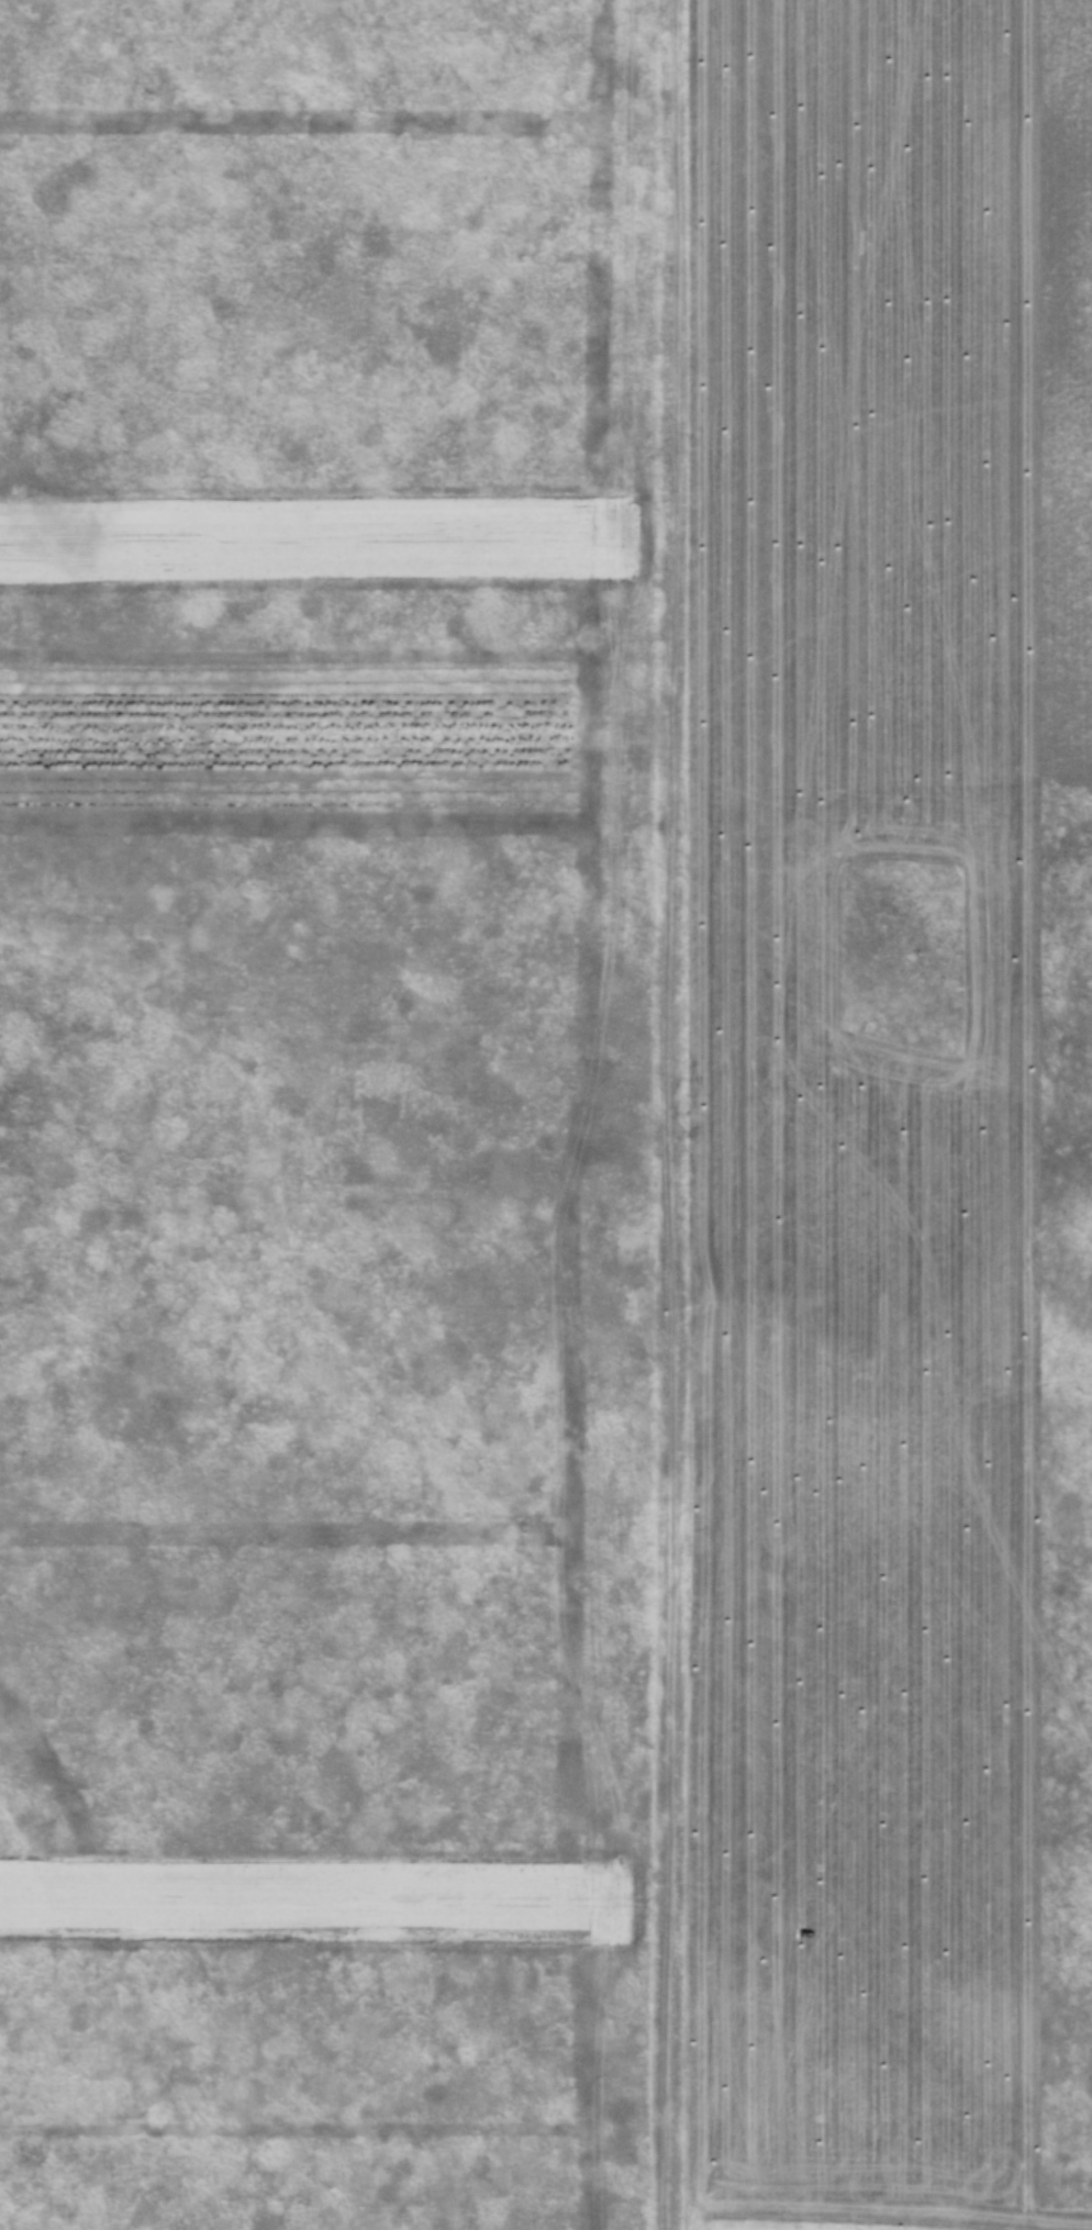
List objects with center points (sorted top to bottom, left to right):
road: (683, 1115)

